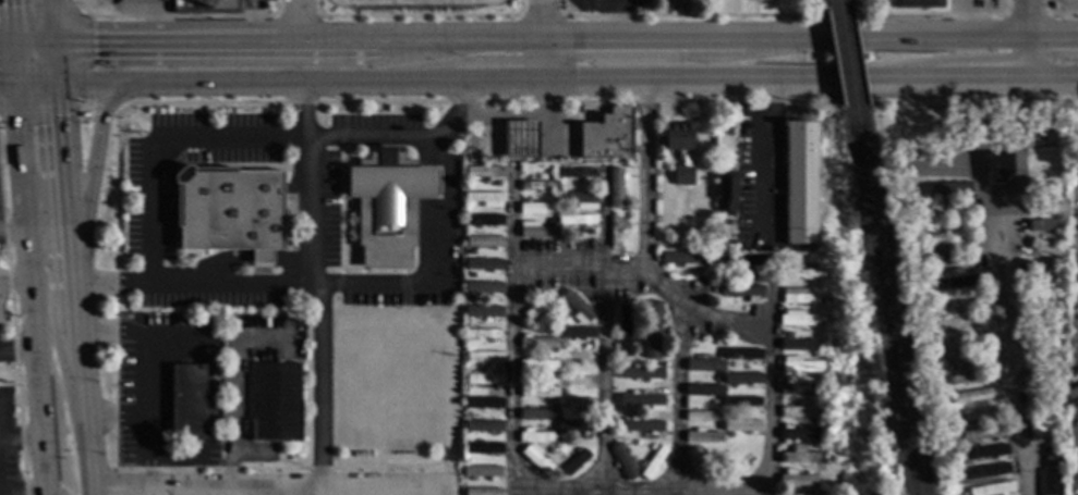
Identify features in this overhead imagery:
railway: (839, 4)
building: (920, 4)
railway: (828, 5)
building: (207, 7)
road: (38, 10)
road: (12, 18)
road: (51, 18)
road: (1030, 20)
road: (305, 21)
road: (542, 21)
road: (7, 38)
traffic signals: (13, 38)
road: (33, 38)
traffic signals: (52, 39)
road: (163, 39)
road: (324, 40)
road: (459, 40)
road: (850, 40)
road: (995, 40)
road: (1055, 40)
road: (644, 41)
road: (1033, 58)
road: (544, 59)
road: (15, 60)
road: (53, 60)
railway: (849, 60)
railway: (838, 61)
road: (981, 75)
road: (1055, 75)
road: (736, 77)
road: (498, 78)
road: (36, 81)
traffic signals: (56, 81)
road: (100, 81)
road: (299, 81)
road: (9, 82)
traffic signals: (17, 82)
road: (771, 103)
road: (87, 104)
road: (102, 111)
road: (20, 113)
road: (461, 114)
road: (519, 114)
building: (83, 115)
building: (979, 128)
building: (1050, 128)
building: (957, 133)
gas station: (552, 135)
building: (607, 135)
building: (519, 138)
building: (1061, 139)
road: (11, 145)
road: (93, 154)
building: (686, 158)
building: (1044, 161)
road: (63, 165)
building: (623, 165)
building: (996, 166)
building: (483, 172)
building: (577, 173)
road: (759, 176)
road: (443, 183)
building: (800, 183)
building: (538, 186)
building: (615, 187)
building: (948, 188)
building: (906, 191)
building: (726, 193)
building: (555, 195)
building: (484, 198)
building: (580, 200)
building: (947, 207)
building: (537, 208)
building: (1046, 209)
building: (904, 210)
building: (229, 211)
building: (387, 212)
building: (610, 214)
building: (577, 220)
building: (485, 222)
building: (920, 226)
building: (948, 226)
building: (1047, 226)
building: (536, 231)
building: (616, 231)
road: (14, 233)
building: (484, 243)
building: (949, 246)
building: (1047, 249)
building: (683, 260)
building: (742, 261)
building: (484, 264)
building: (953, 264)
road: (580, 267)
building: (925, 268)
building: (719, 272)
building: (800, 274)
building: (470, 275)
building: (1029, 277)
building: (1010, 282)
road: (16, 283)
road: (315, 283)
building: (953, 283)
building: (1047, 285)
building: (484, 288)
building: (918, 288)
building: (740, 290)
road: (114, 294)
road: (74, 296)
building: (797, 297)
building: (1059, 298)
building: (956, 302)
railway: (879, 304)
railway: (891, 304)
building: (922, 304)
building: (538, 306)
building: (577, 307)
building: (483, 312)
building: (1039, 312)
building: (543, 313)
road: (35, 319)
building: (797, 319)
building: (564, 321)
building: (961, 322)
building: (933, 325)
building: (623, 331)
building: (653, 331)
building: (573, 332)
building: (552, 333)
building: (484, 334)
building: (1040, 334)
road: (12, 335)
building: (477, 342)
building: (833, 343)
building: (537, 344)
building: (798, 346)
road: (17, 349)
building: (635, 350)
road: (1005, 351)
building: (742, 355)
building: (664, 356)
building: (484, 357)
building: (547, 357)
building: (577, 357)
building: (717, 358)
building: (968, 359)
building: (537, 366)
building: (623, 366)
building: (705, 367)
building: (1058, 367)
building: (562, 368)
building: (802, 368)
road: (152, 371)
building: (642, 373)
building: (744, 378)
building: (813, 378)
building: (971, 378)
building: (1042, 378)
building: (484, 379)
road: (602, 379)
building: (544, 380)
building: (574, 380)
building: (716, 380)
building: (799, 389)
building: (704, 391)
road: (229, 392)
building: (538, 392)
building: (642, 393)
building: (933, 394)
building: (974, 396)
road: (679, 397)
building: (186, 400)
building: (643, 401)
building: (815, 401)
building: (1039, 401)
building: (741, 403)
building: (276, 404)
building: (484, 404)
building: (576, 404)
building: (715, 404)
building: (727, 412)
building: (799, 413)
building: (1041, 413)
road: (5, 416)
building: (537, 416)
building: (978, 416)
road: (85, 417)
building: (703, 417)
building: (467, 418)
building: (560, 418)
building: (625, 418)
building: (640, 425)
building: (815, 425)
building: (483, 426)
building: (576, 426)
building: (741, 426)
building: (1046, 426)
building: (942, 428)
building: (798, 434)
building: (982, 434)
building: (729, 436)
road: (21, 437)
building: (536, 437)
building: (943, 437)
building: (704, 438)
building: (815, 443)
building: (637, 444)
building: (653, 448)
building: (484, 449)
building: (577, 450)
building: (1055, 450)
building: (983, 454)
building: (800, 458)
building: (470, 460)
building: (536, 460)
building: (625, 460)
building: (702, 461)
building: (653, 462)
building: (576, 463)
building: (739, 465)
building: (482, 471)
building: (988, 471)
building: (807, 473)
building: (947, 474)
building: (798, 481)
building: (1050, 482)
road: (113, 484)
road: (274, 486)
building: (992, 488)
road: (725, 490)
road: (281, 491)
building: (804, 491)
building: (482, 492)
road: (36, 494)
road: (51, 494)
building: (801, 494)
building: (965, 494)

